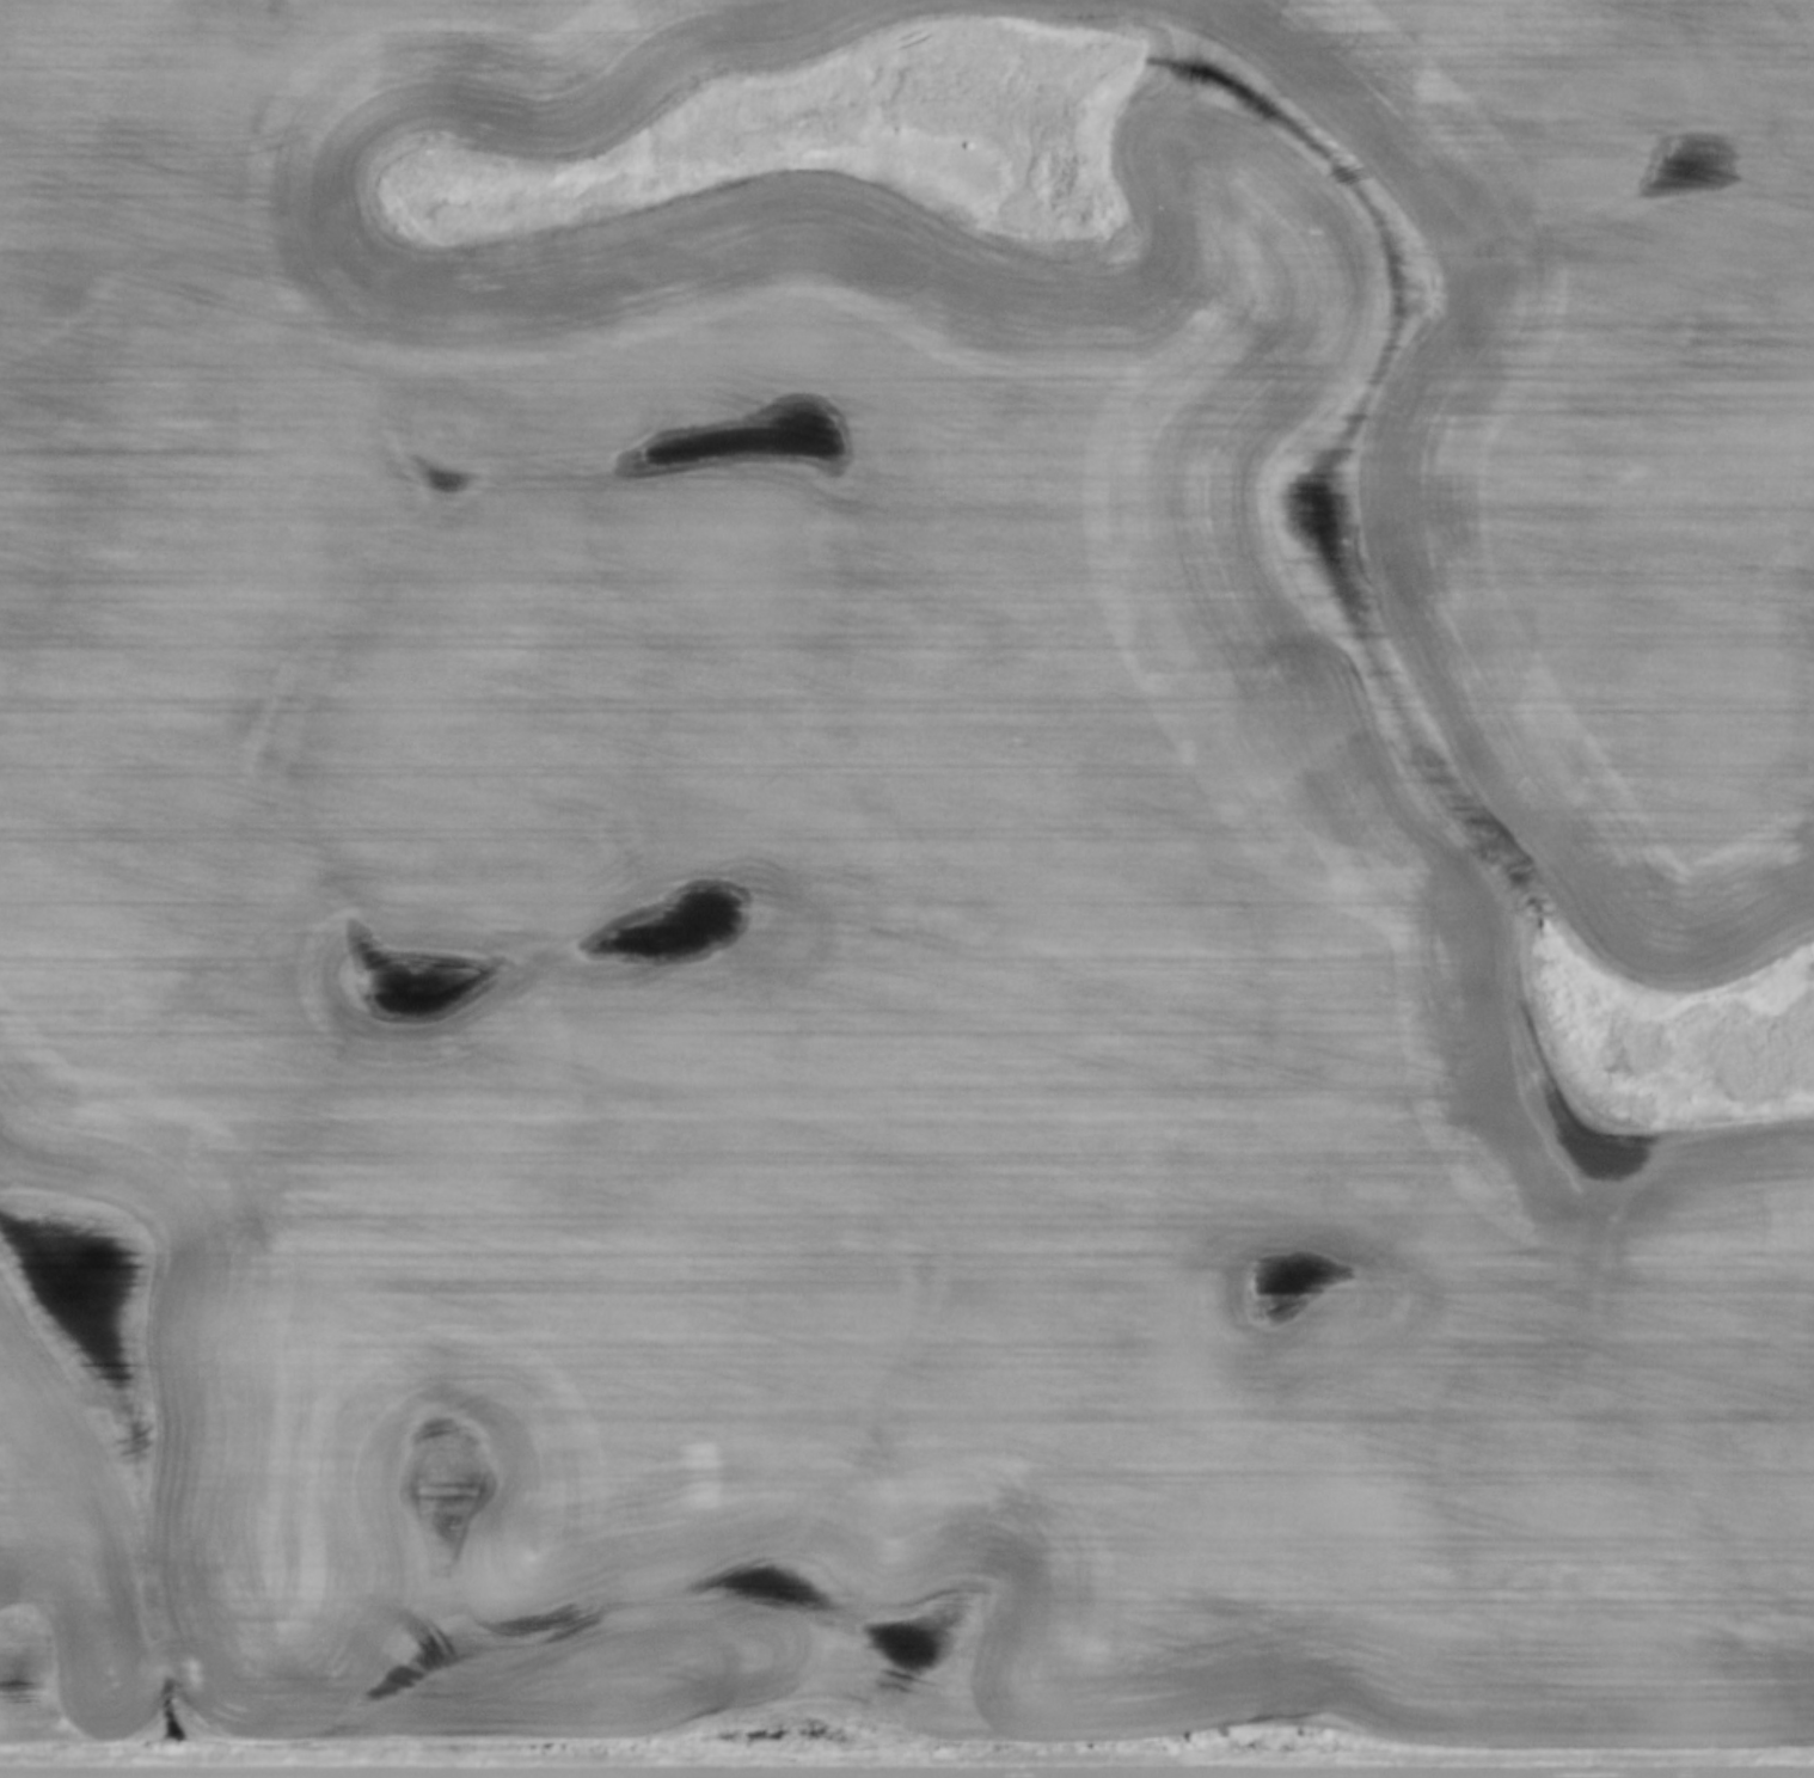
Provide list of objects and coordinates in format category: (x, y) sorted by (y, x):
road: (907, 1774)

